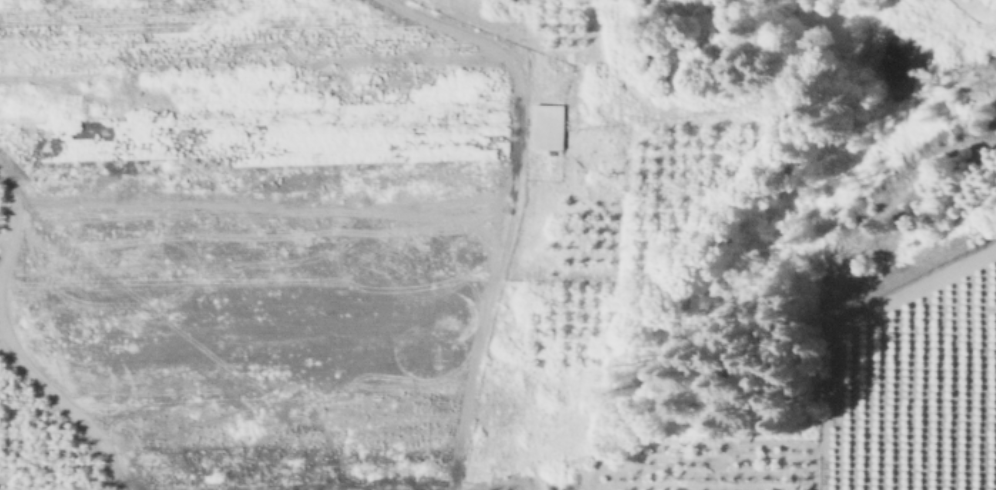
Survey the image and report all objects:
building: (548, 128)
crop: (910, 385)

